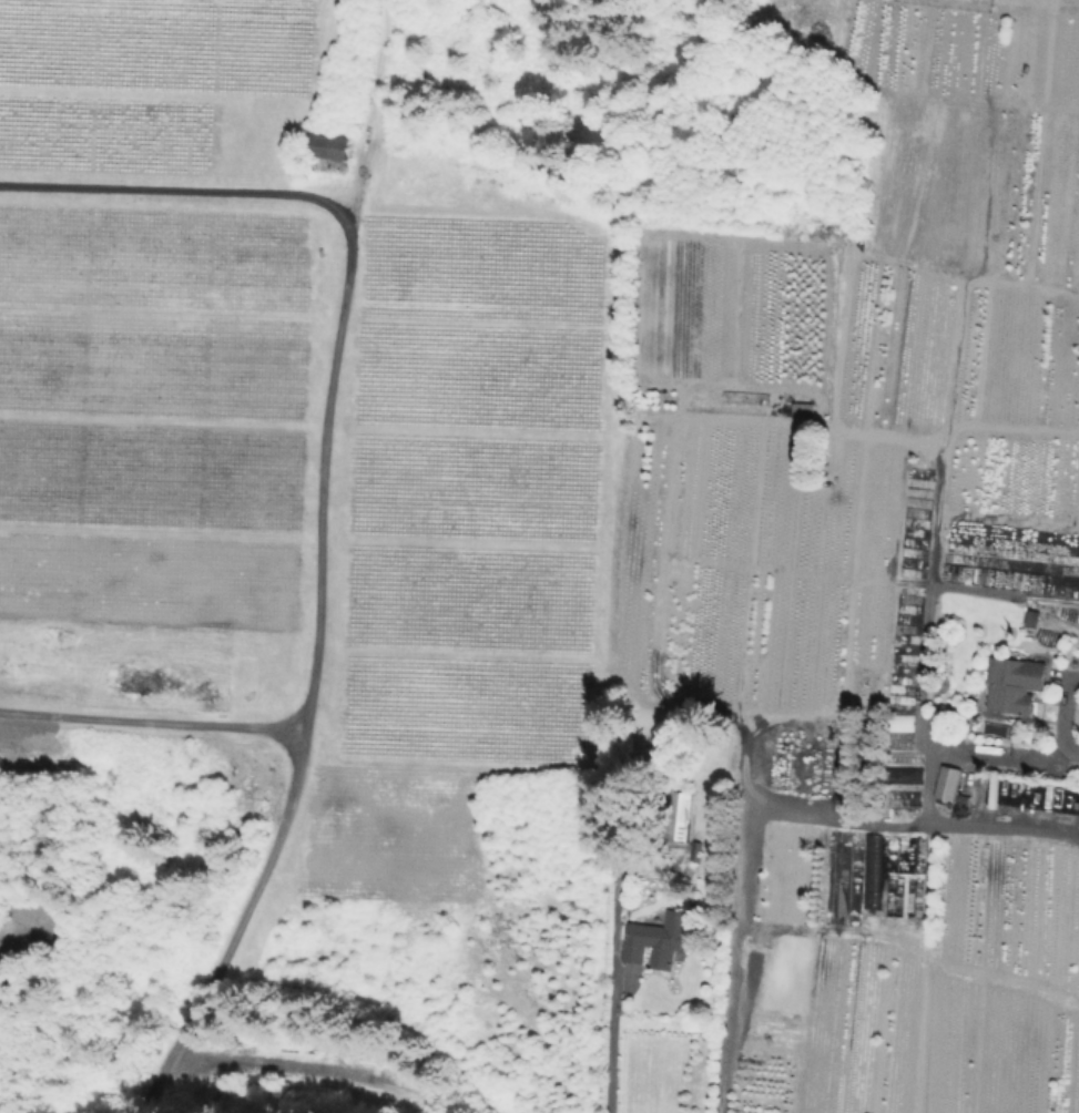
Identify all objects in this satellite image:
building: (330, 151)
road: (370, 154)
building: (803, 409)
road: (320, 506)
building: (1015, 685)
road: (151, 722)
road: (986, 749)
building: (949, 782)
road: (1021, 829)
road: (734, 847)
building: (655, 941)
road: (610, 1044)

